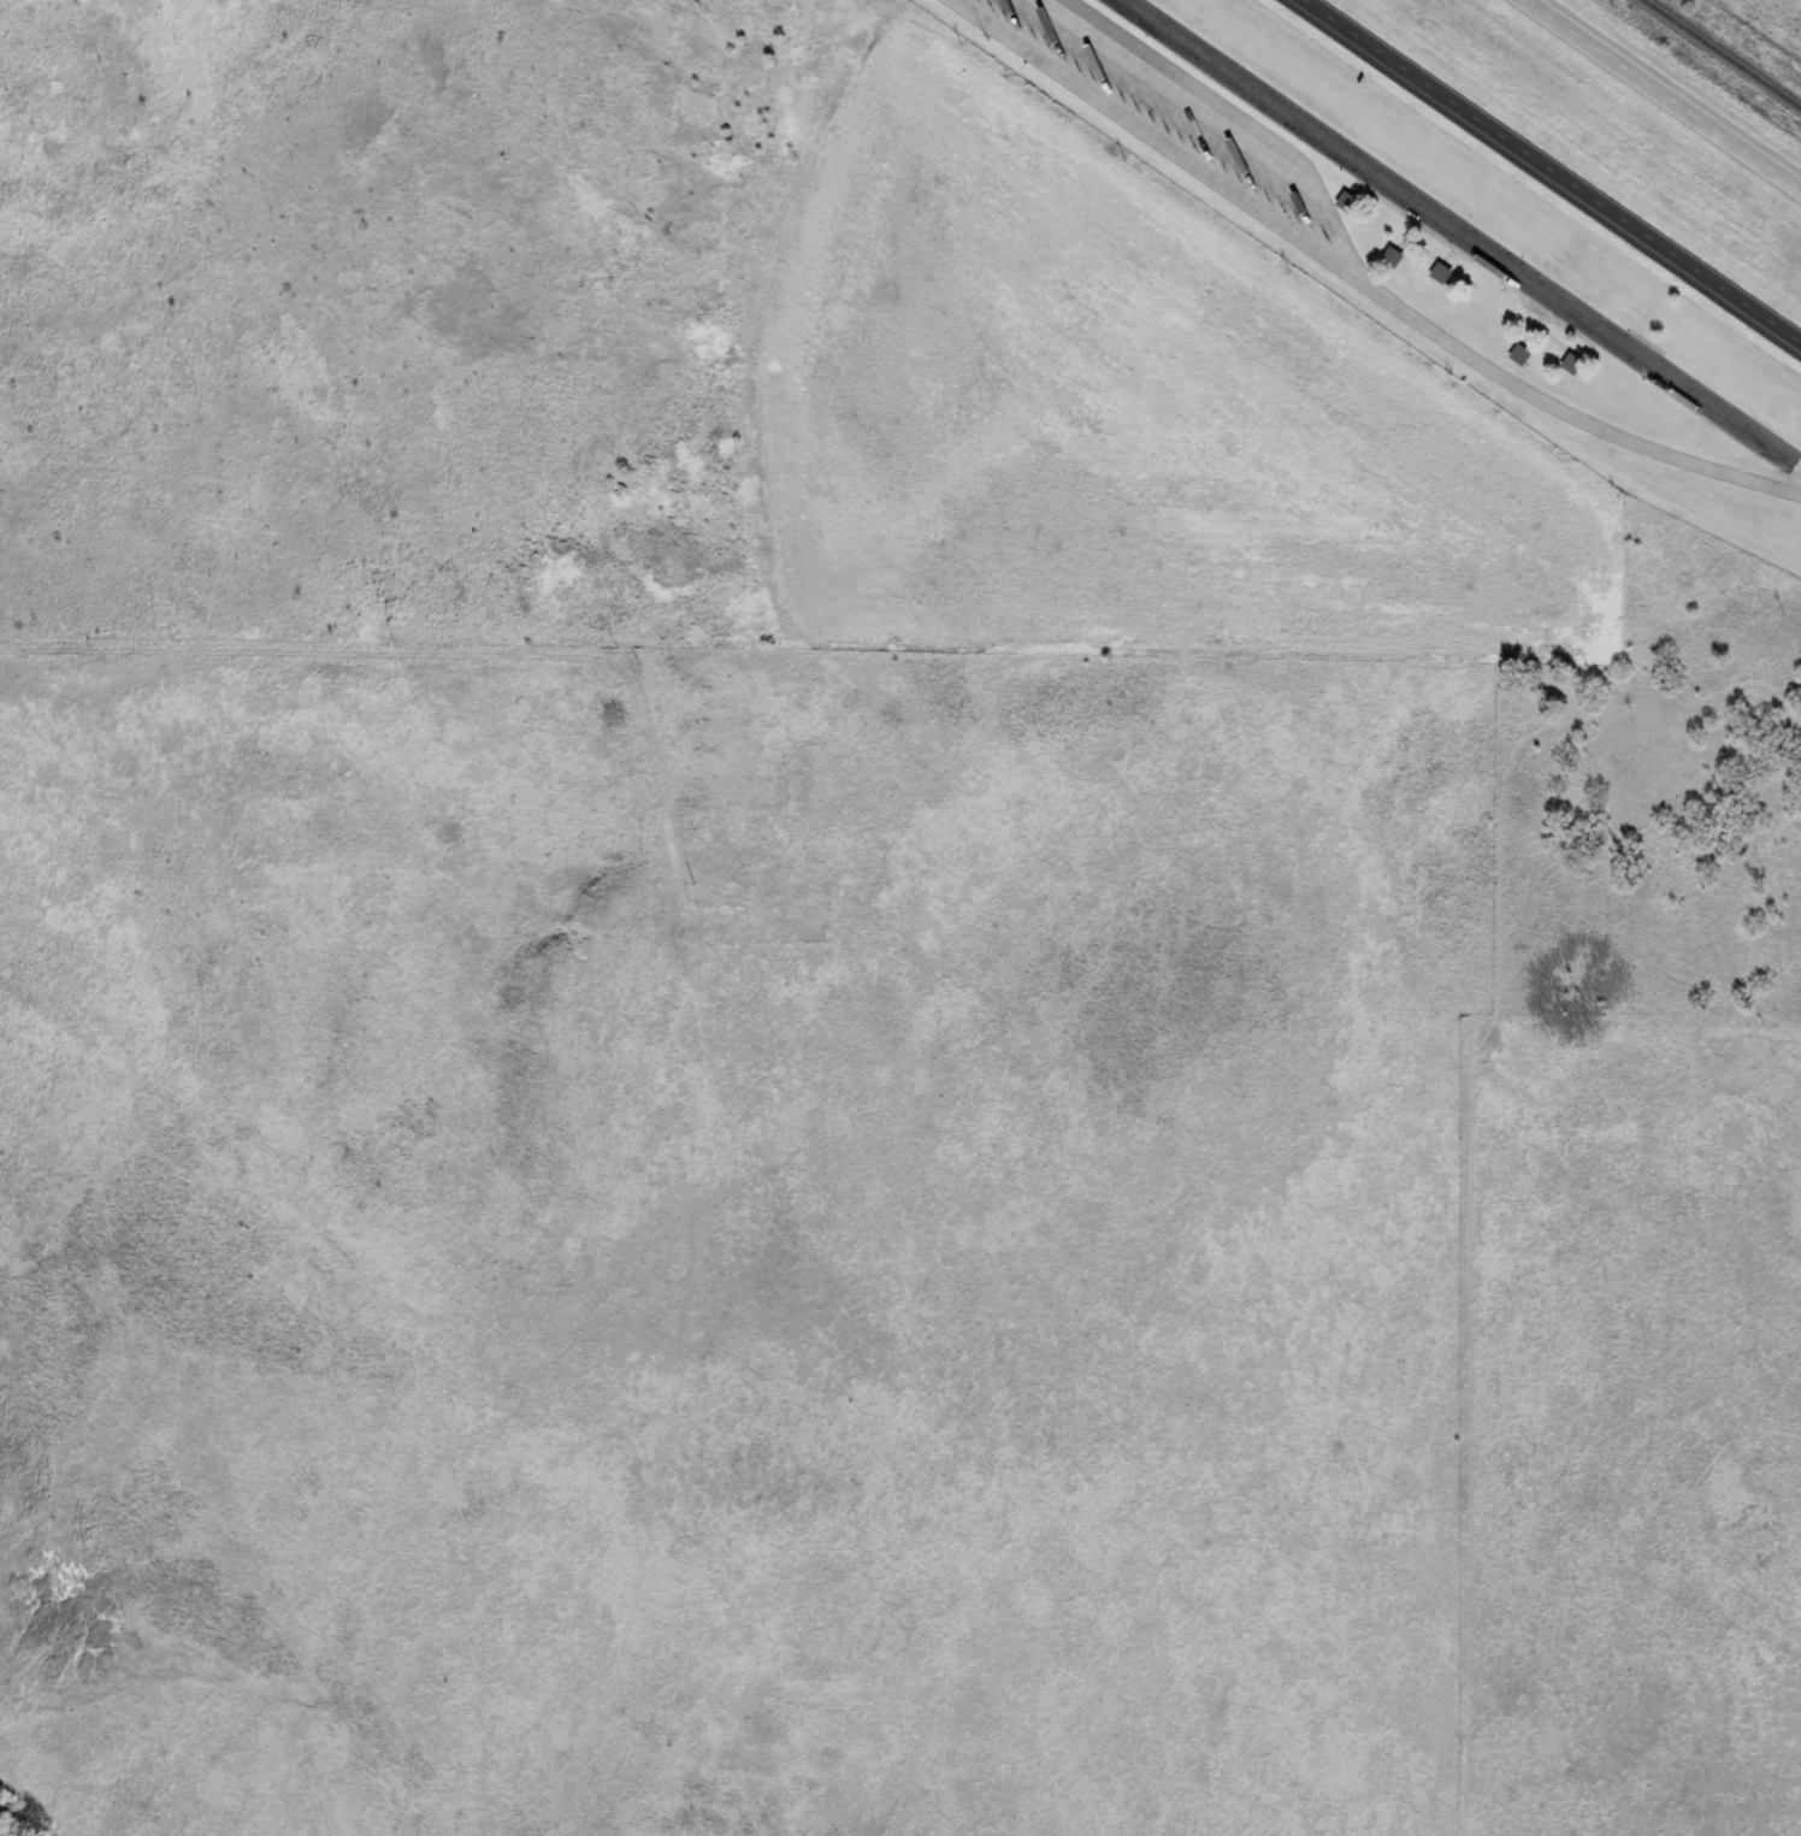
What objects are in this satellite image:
railway: (1719, 55)
road: (1669, 91)
parking lot: (1159, 107)
road: (1239, 117)
road: (1557, 166)
building: (1342, 200)
road: (1462, 232)
road: (1404, 237)
parking lot: (1451, 238)
road: (1445, 256)
building: (1389, 258)
road: (1440, 260)
road: (1475, 266)
building: (1440, 273)
road: (1358, 279)
road: (1528, 330)
road: (1547, 336)
building: (1518, 355)
building: (1570, 364)

